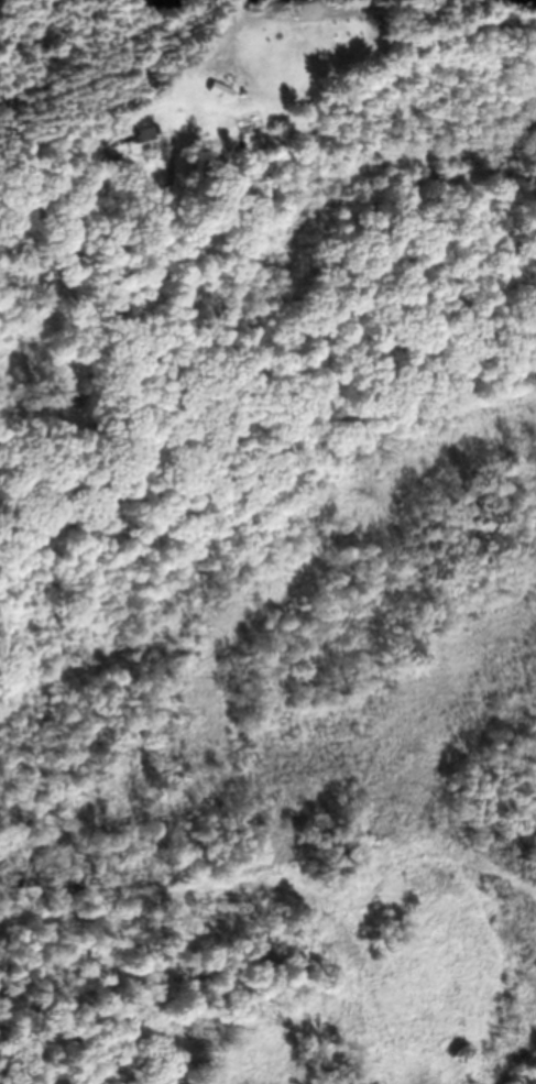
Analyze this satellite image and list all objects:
building: (219, 89)

